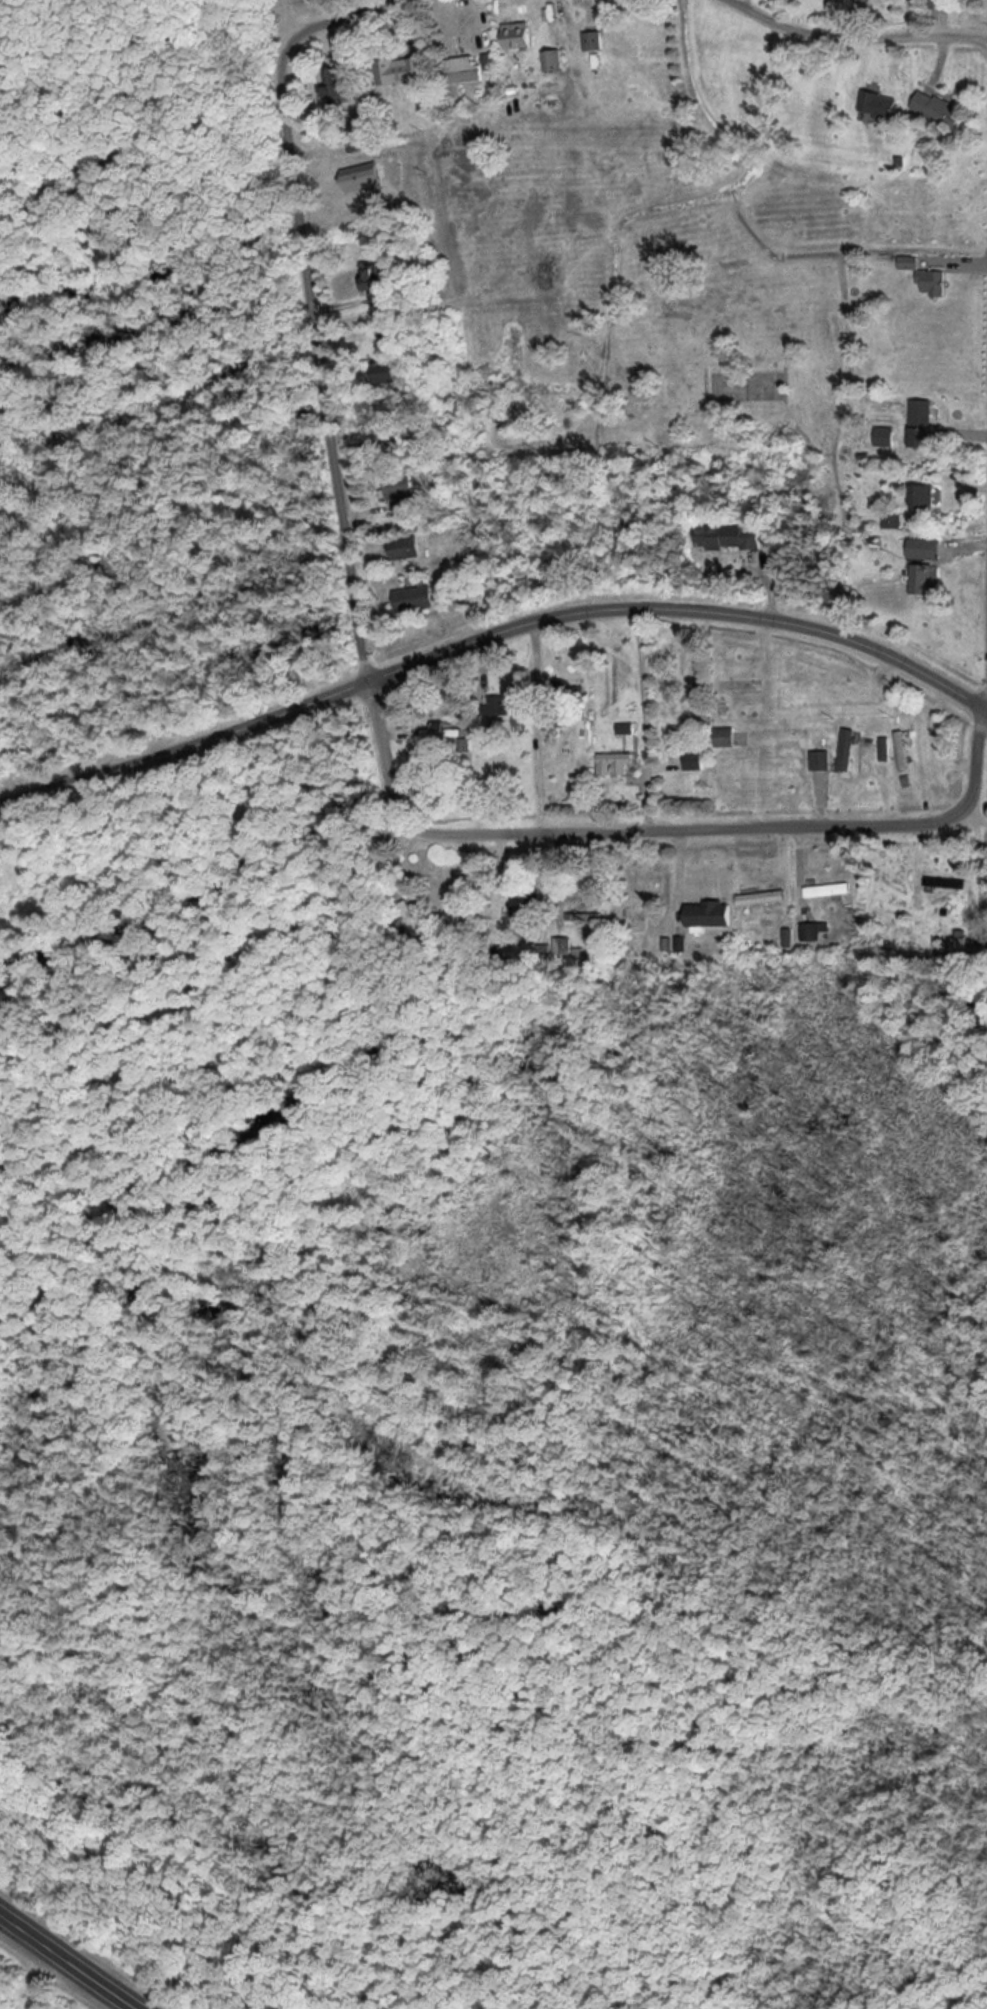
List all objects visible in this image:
building: (944, 5)
road: (860, 31)
building: (522, 37)
building: (596, 42)
building: (554, 62)
building: (467, 71)
building: (406, 74)
building: (339, 88)
building: (884, 107)
building: (942, 110)
building: (911, 264)
building: (934, 285)
building: (383, 286)
road: (313, 312)
building: (392, 374)
building: (924, 416)
building: (886, 439)
building: (403, 488)
building: (925, 498)
building: (895, 523)
building: (734, 539)
building: (407, 550)
building: (929, 551)
building: (926, 582)
building: (418, 602)
road: (491, 632)
building: (744, 687)
building: (510, 711)
building: (629, 735)
building: (729, 738)
building: (886, 749)
building: (852, 750)
building: (906, 752)
building: (823, 761)
building: (698, 762)
building: (618, 764)
road: (662, 827)
building: (945, 884)
building: (831, 891)
building: (765, 899)
building: (536, 911)
building: (645, 915)
building: (714, 915)
building: (418, 919)
building: (818, 932)
road: (72, 1957)

